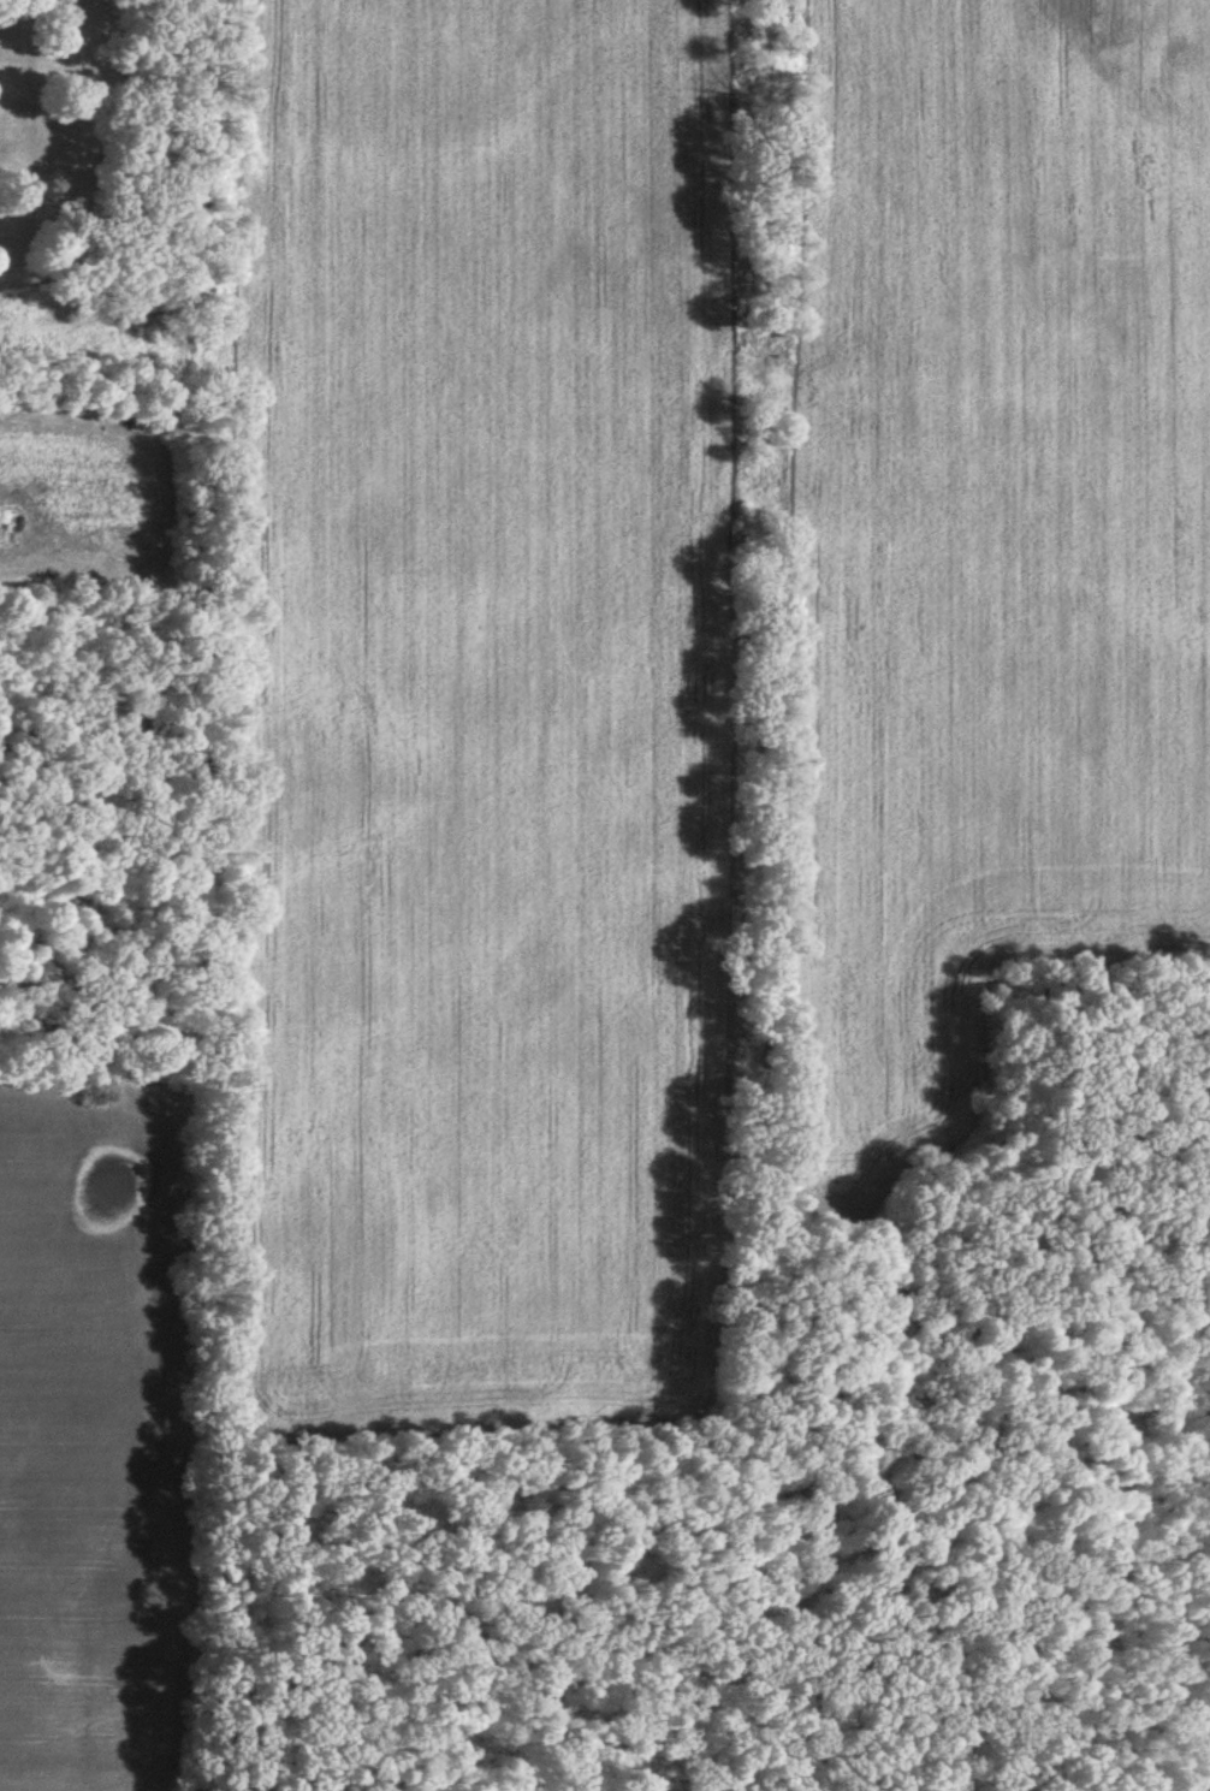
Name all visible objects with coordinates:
crop: (985, 540)
crop: (473, 712)

